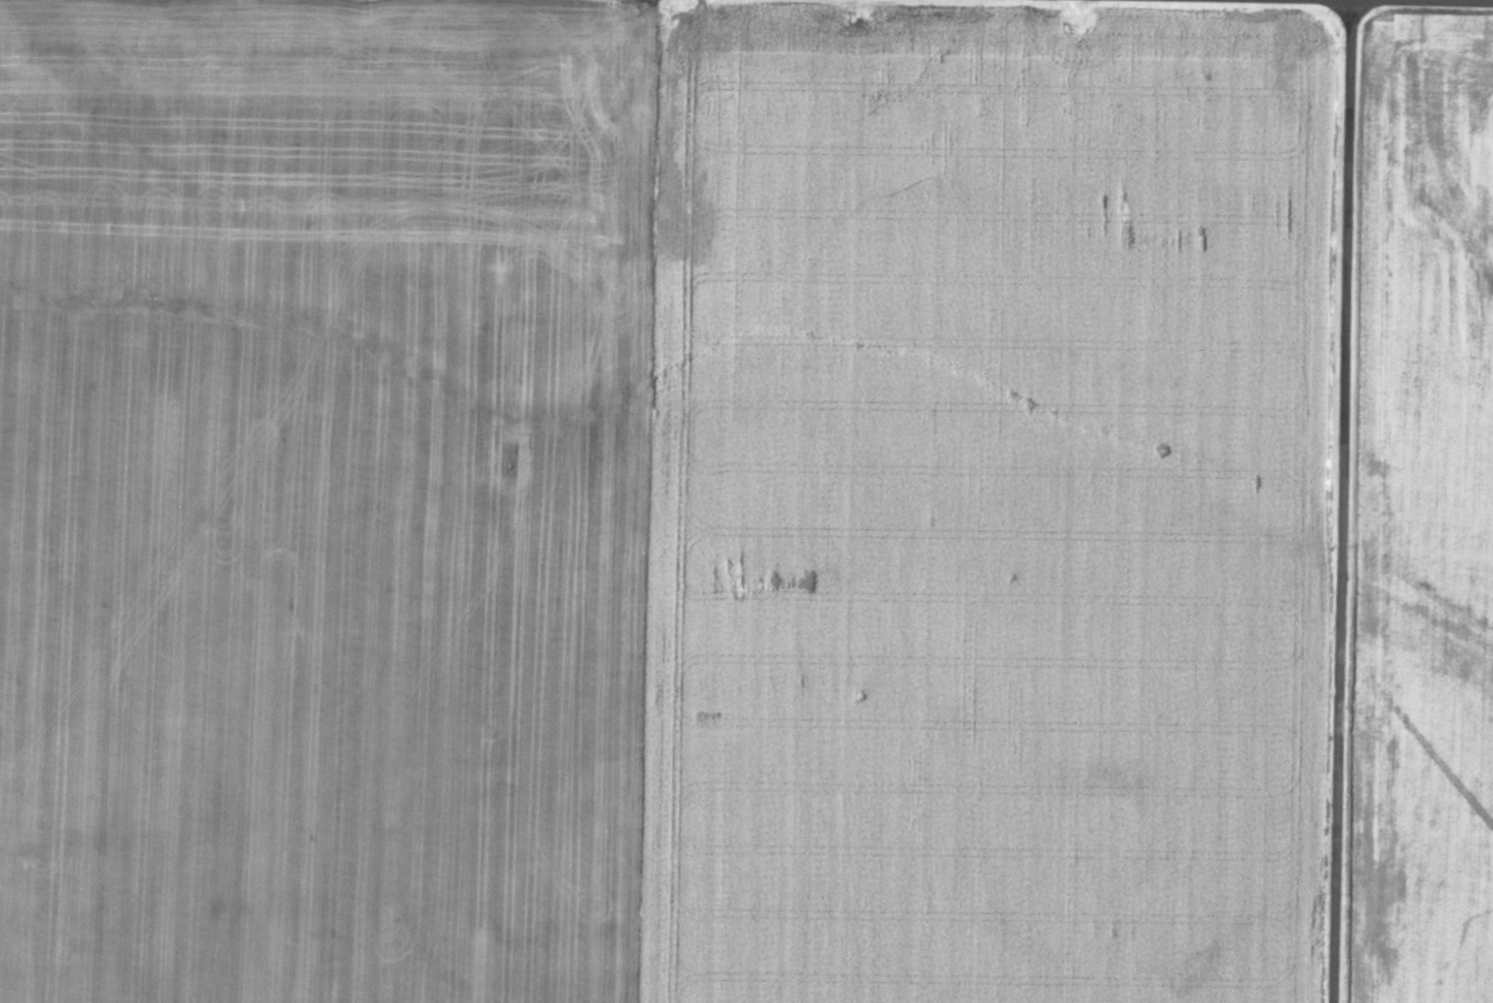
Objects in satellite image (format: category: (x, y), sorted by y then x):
road: (621, 5)
road: (1347, 501)
road: (693, 504)

